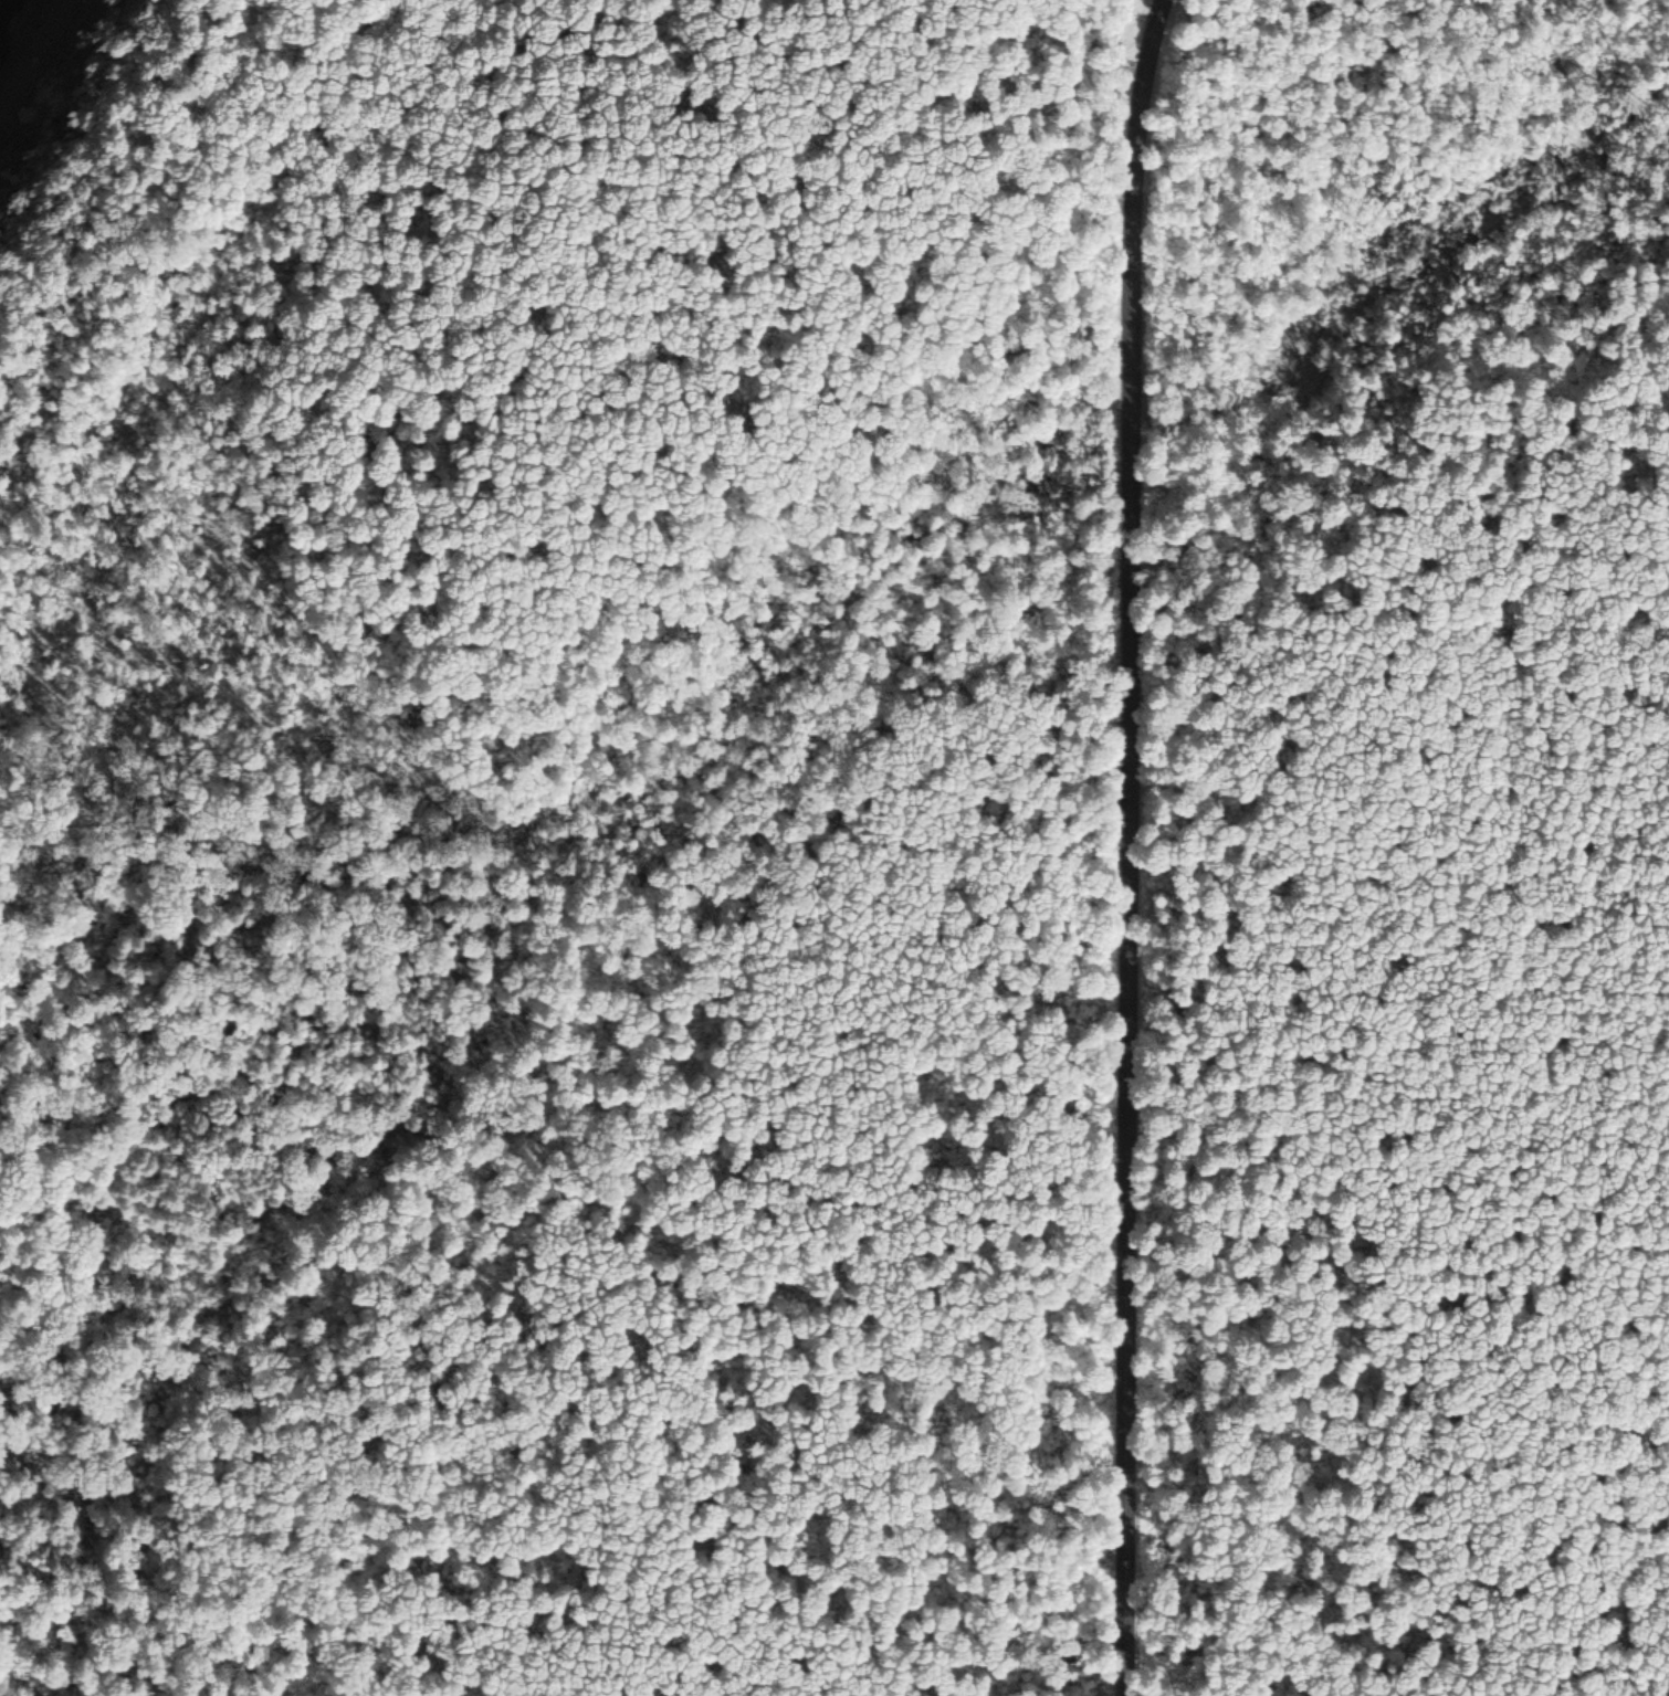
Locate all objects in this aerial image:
road: (432, 211)
road: (130, 288)
road: (1136, 845)

